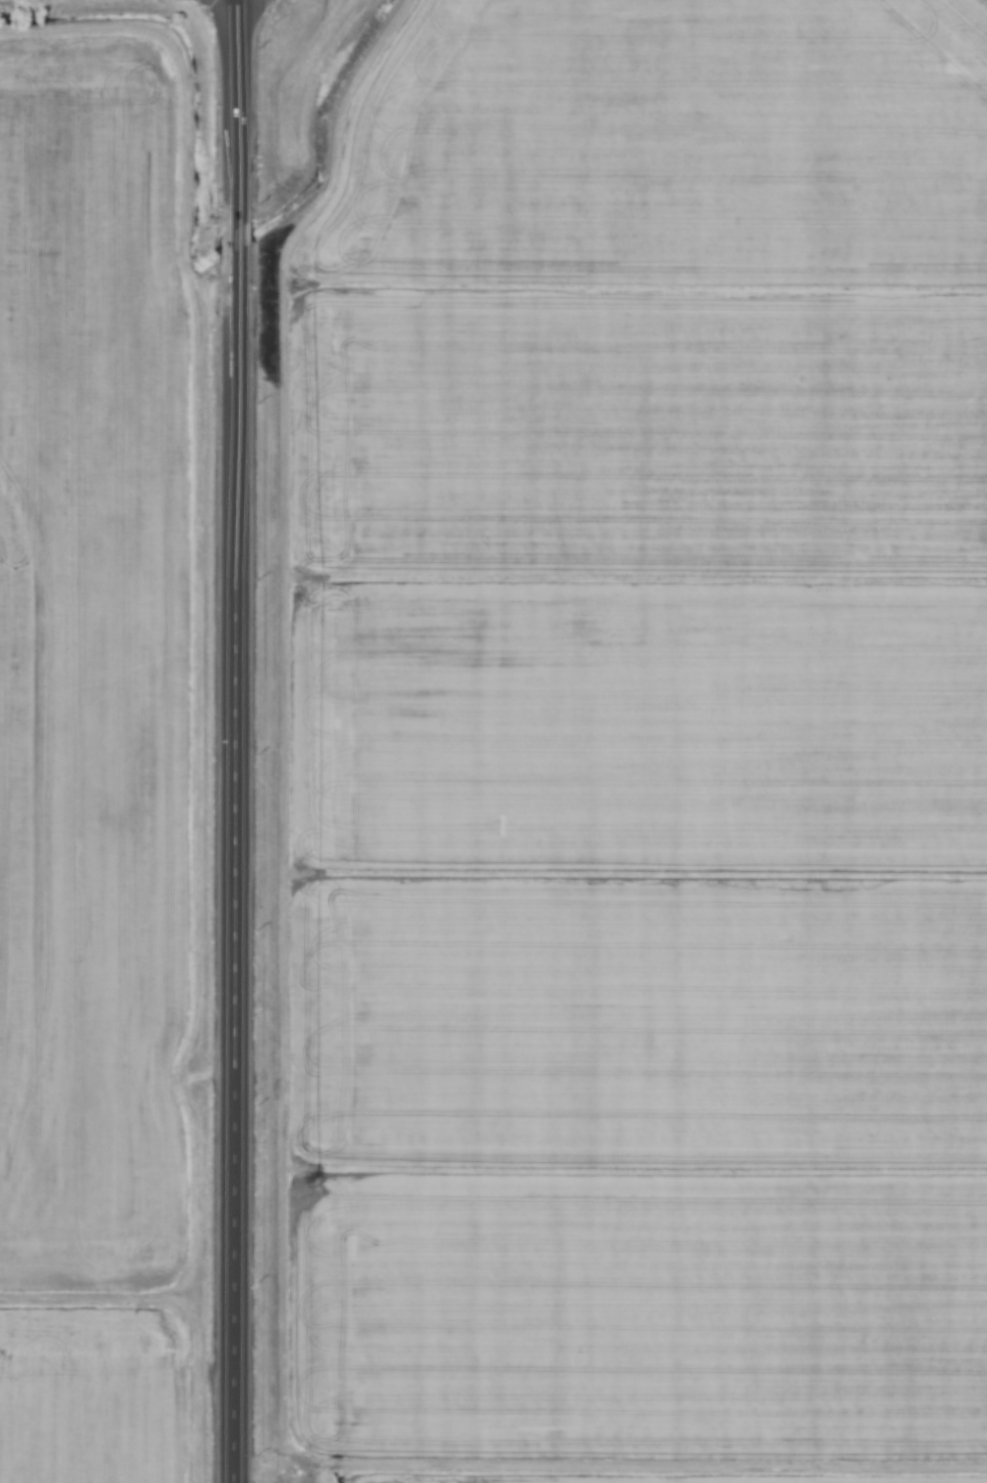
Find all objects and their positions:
road: (233, 741)

